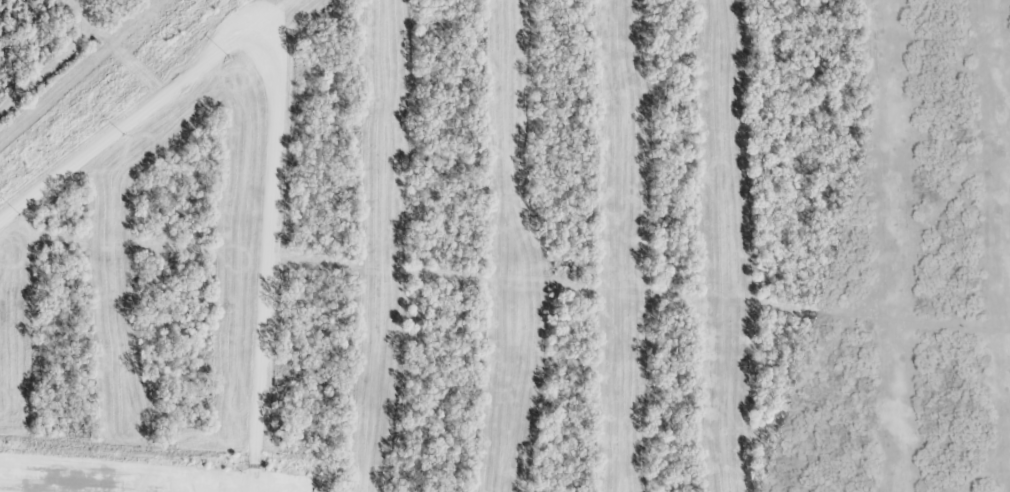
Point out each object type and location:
road: (140, 111)

